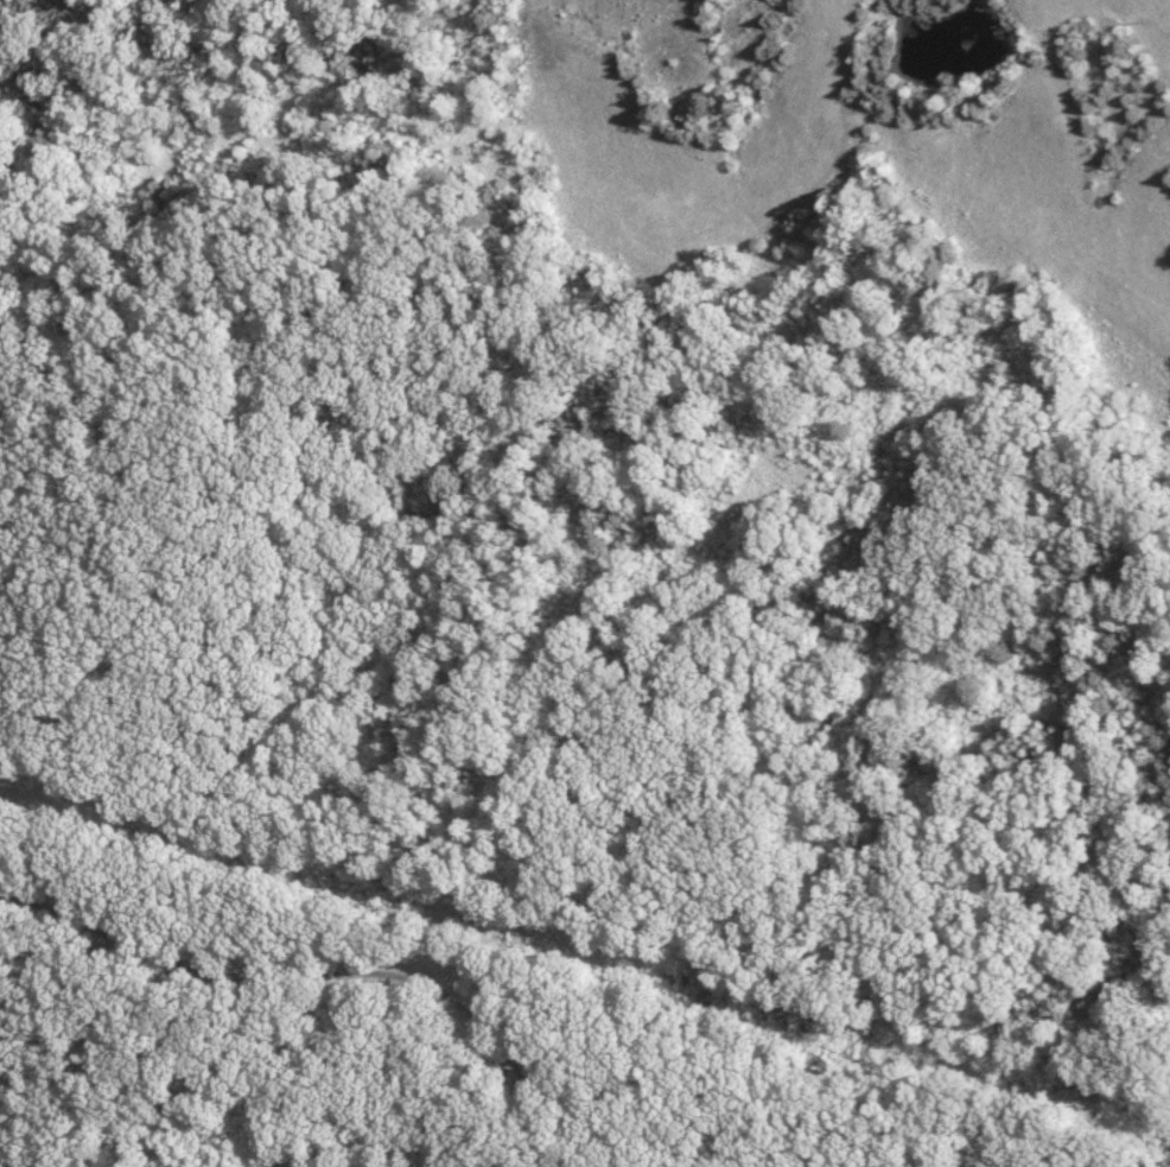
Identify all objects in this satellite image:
road: (324, 962)

